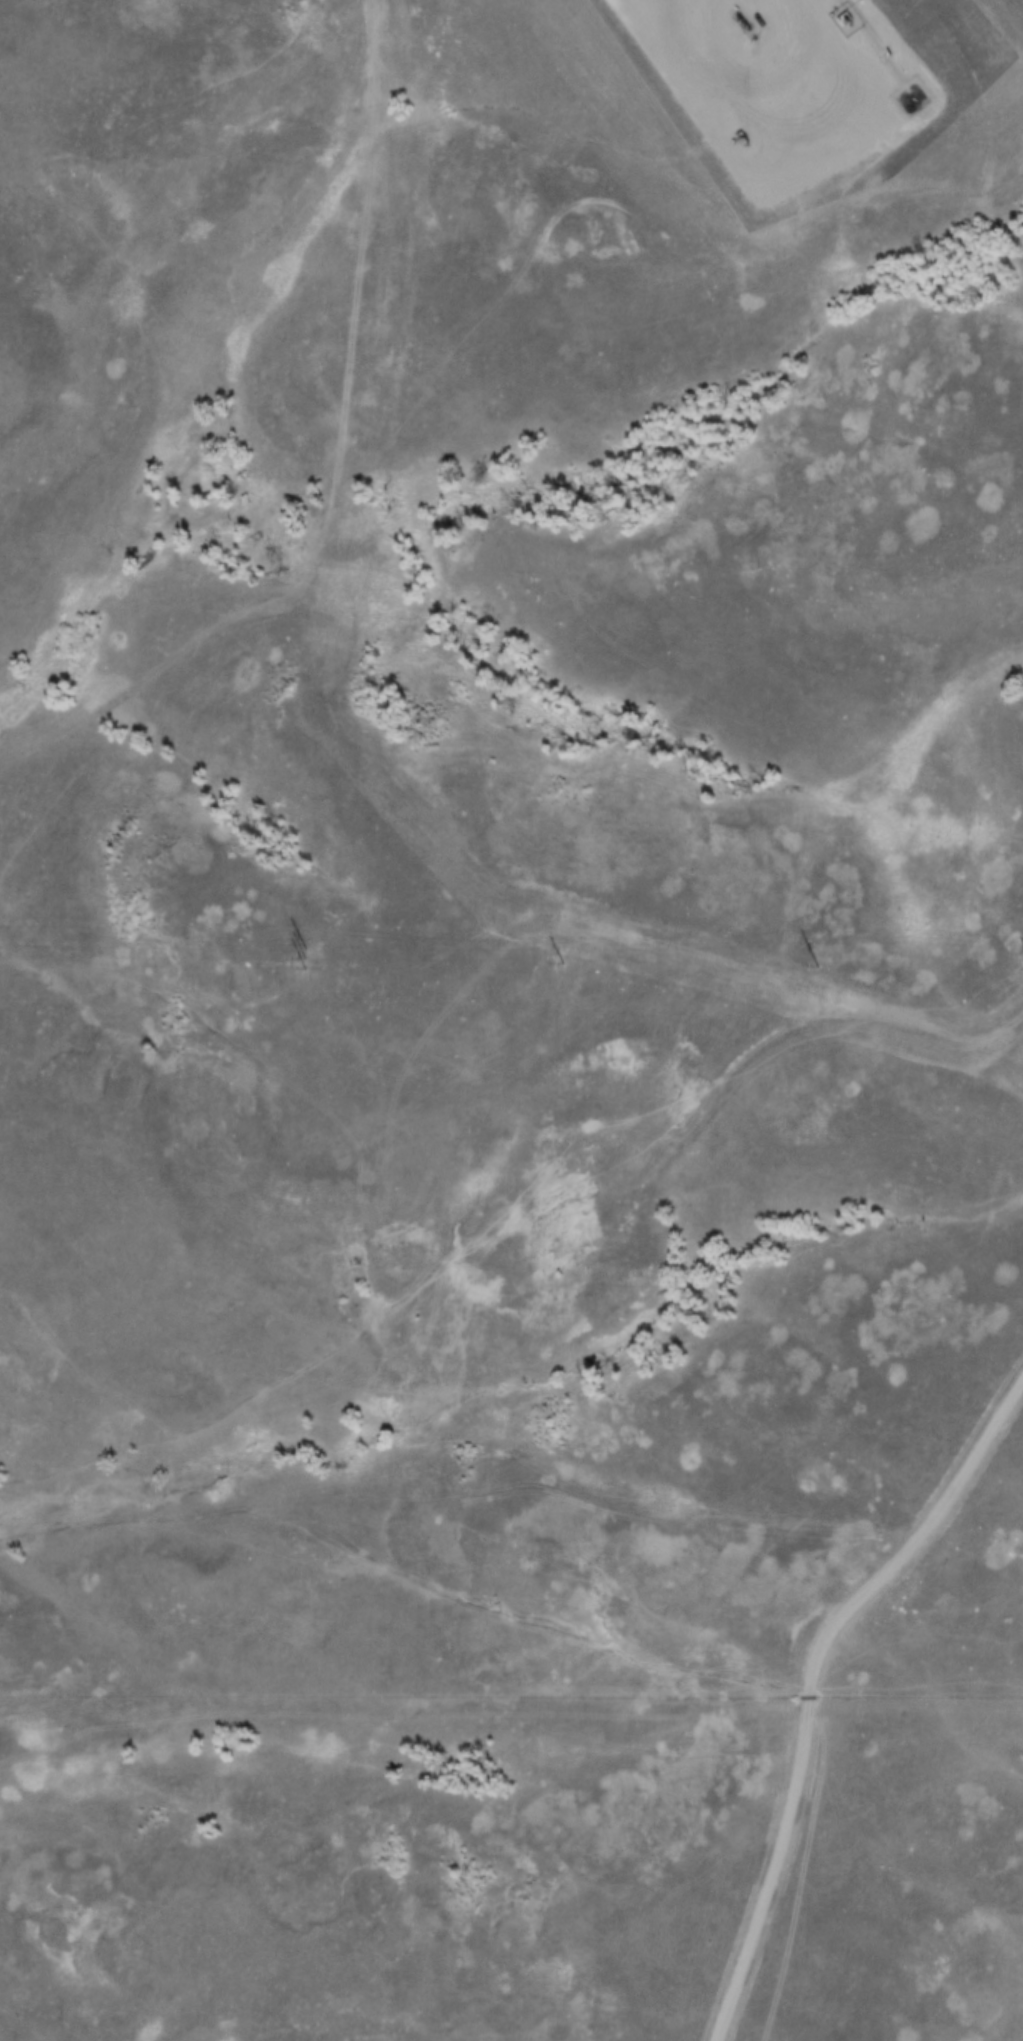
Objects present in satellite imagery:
power tower: (316, 958)
road: (810, 1684)

